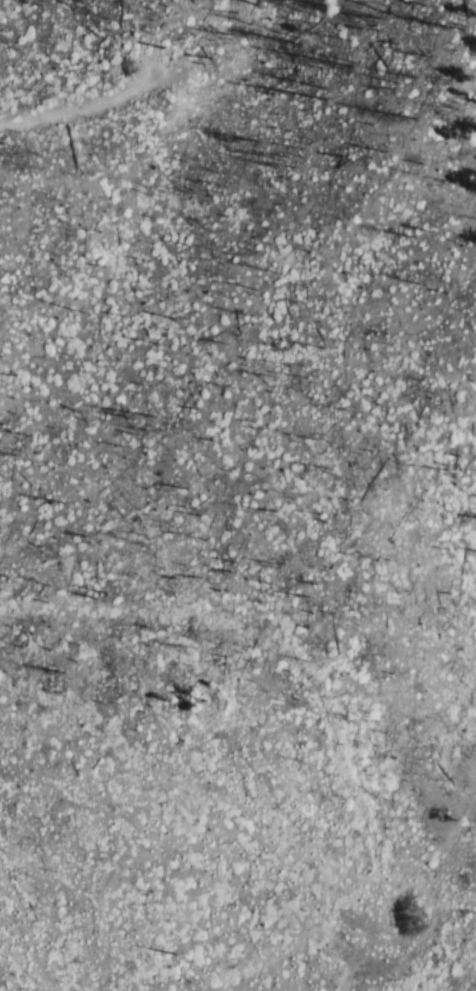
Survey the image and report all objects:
road: (78, 109)

